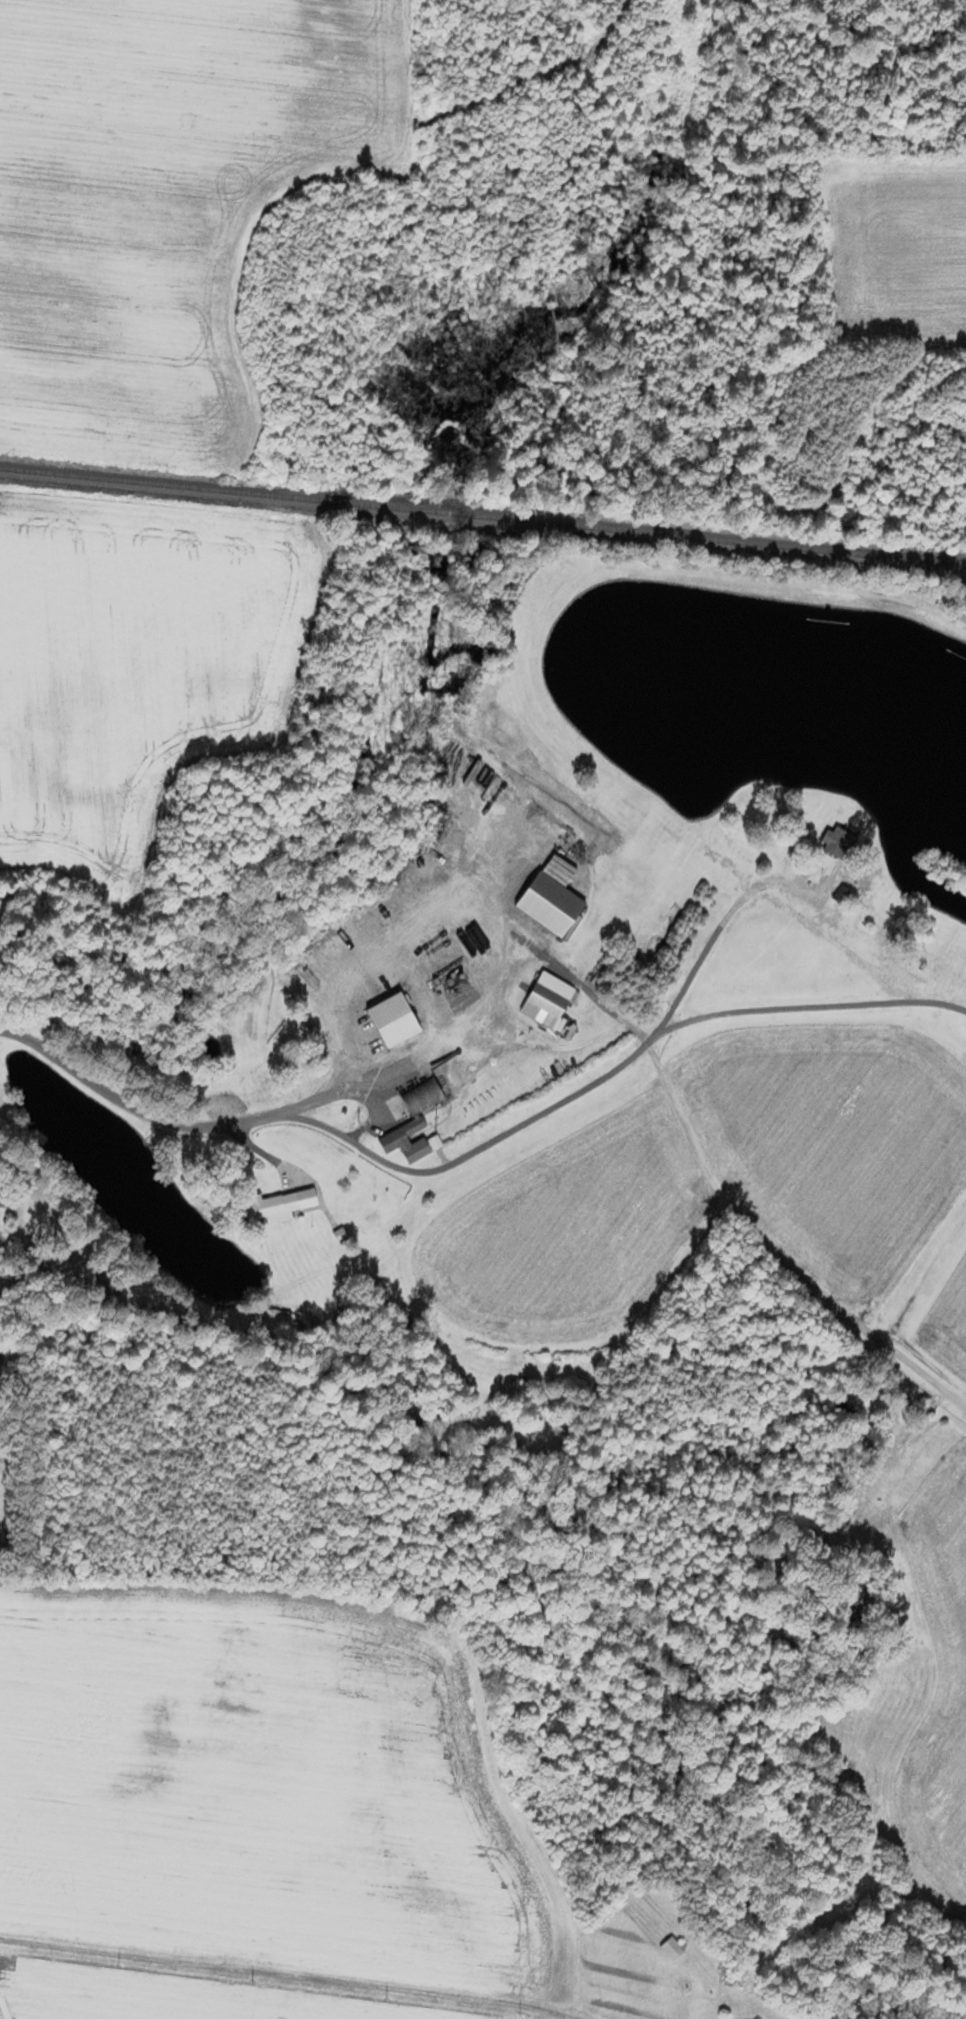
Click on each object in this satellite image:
railway: (482, 516)
building: (840, 840)
road: (456, 894)
building: (554, 903)
road: (712, 937)
road: (558, 965)
building: (551, 999)
road: (802, 1007)
building: (395, 1023)
road: (415, 1059)
building: (425, 1094)
road: (331, 1129)
building: (409, 1141)
building: (282, 1204)
road: (774, 1252)
road: (879, 1457)
road: (293, 1974)

